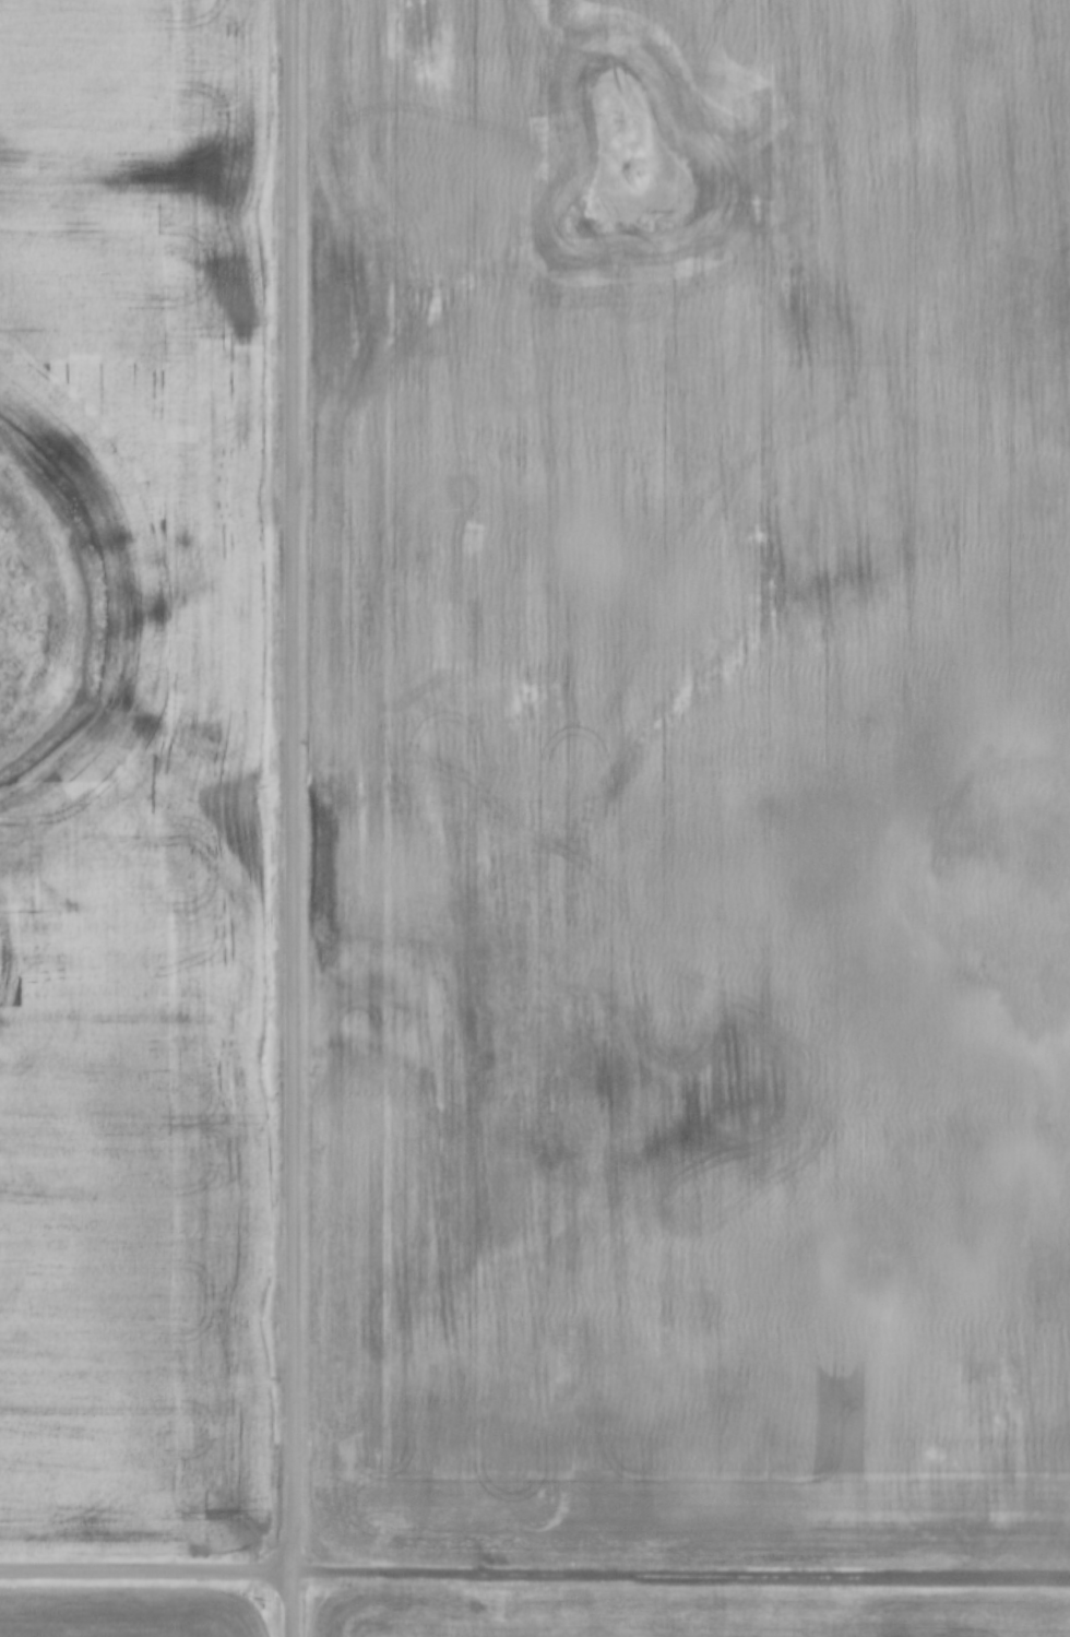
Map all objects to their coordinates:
road: (295, 818)
road: (148, 1576)
road: (682, 1576)

